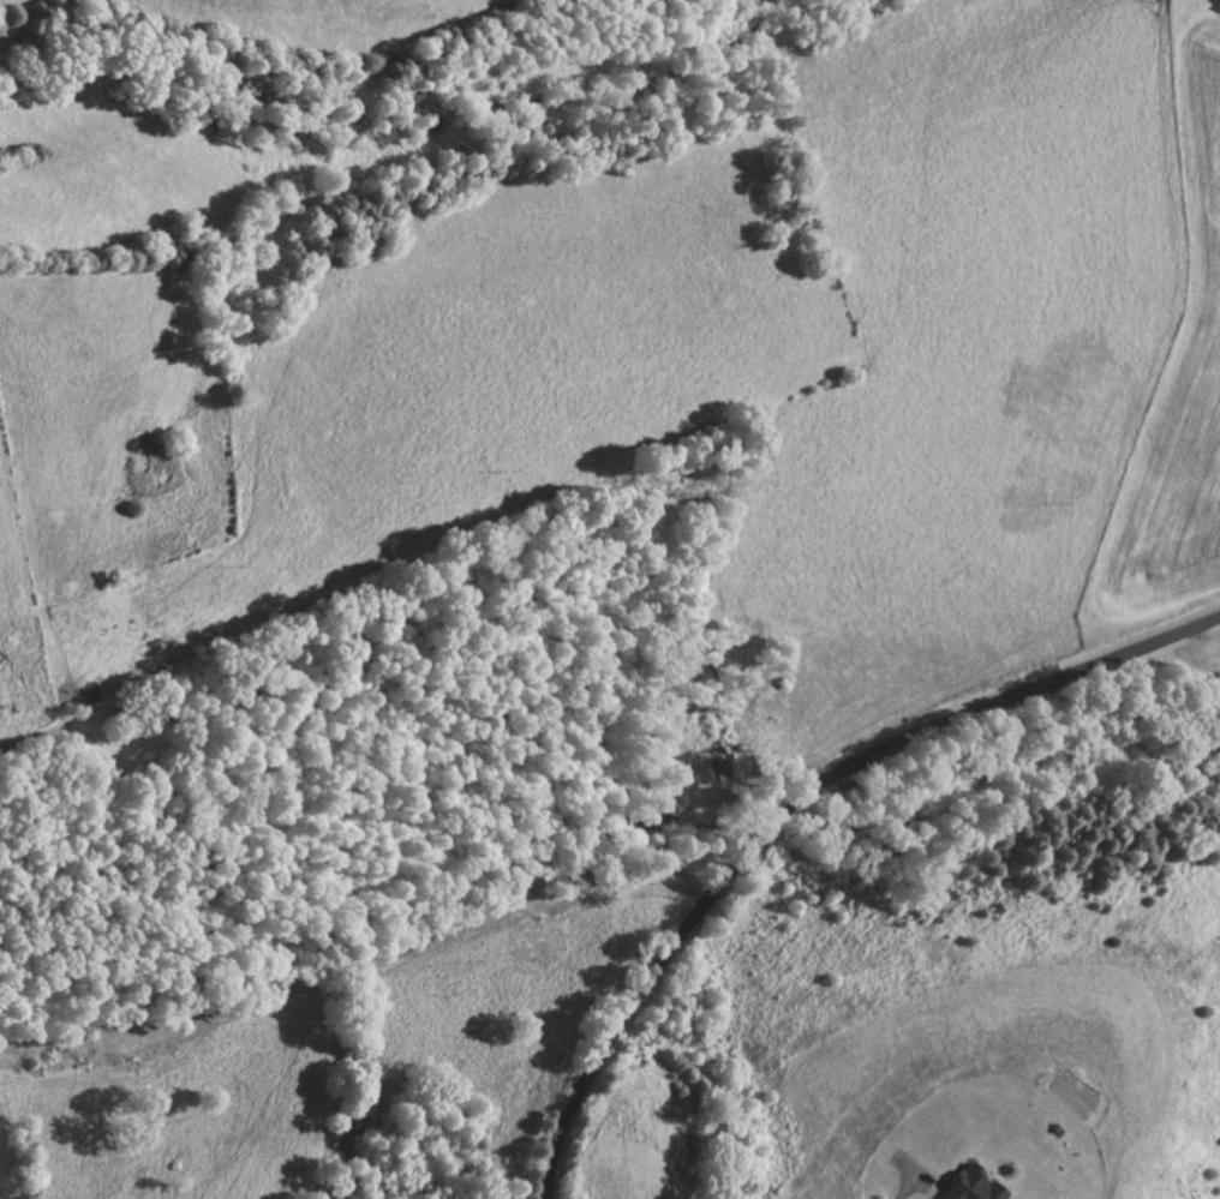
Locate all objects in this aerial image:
road: (18, 744)
road: (789, 805)
building: (971, 1187)

